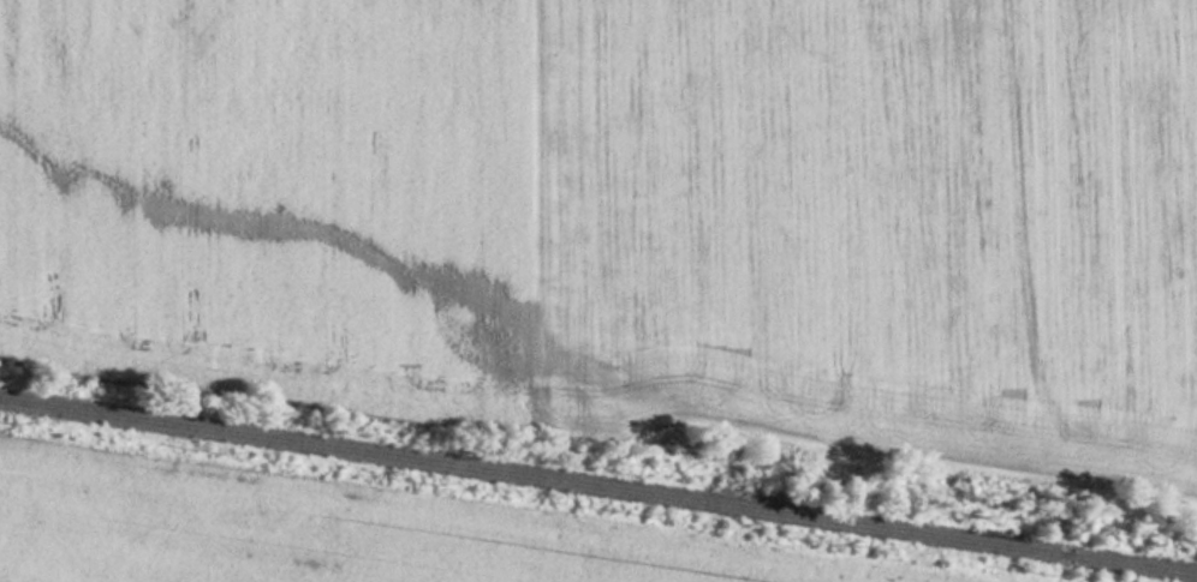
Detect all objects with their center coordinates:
railway: (598, 488)

